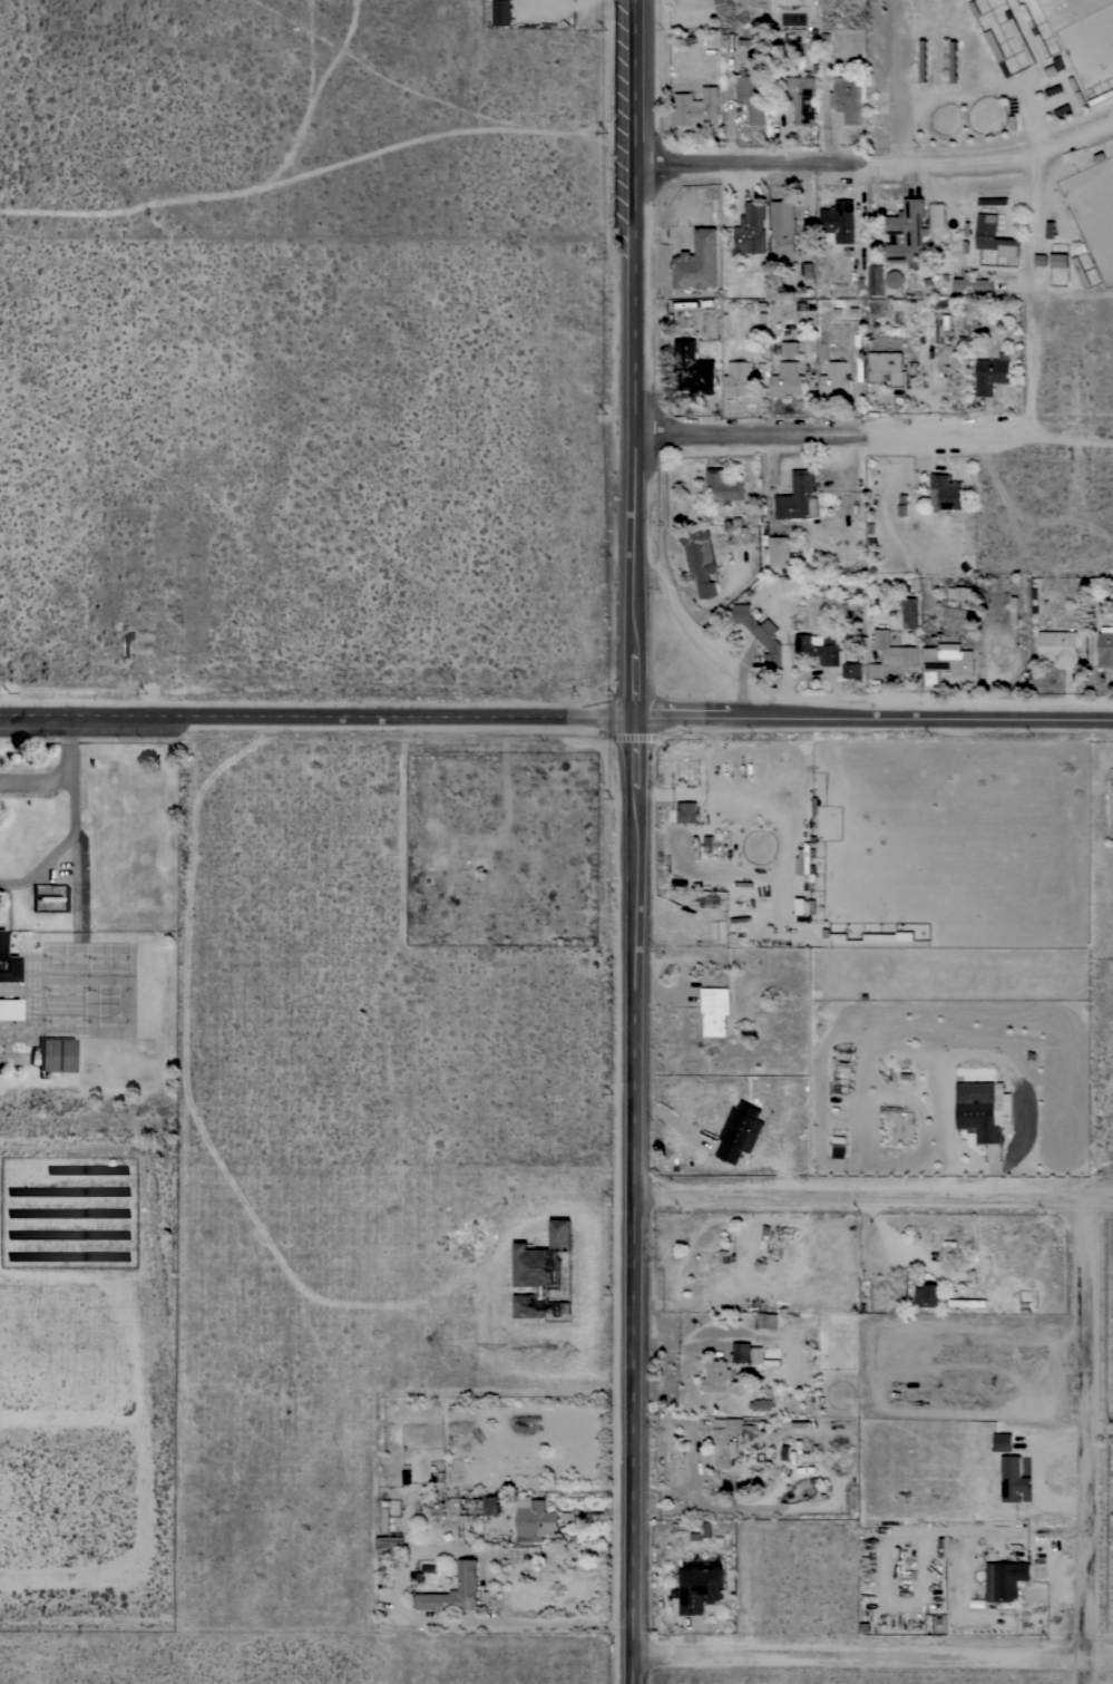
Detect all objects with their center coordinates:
building: (501, 12)
building: (1034, 29)
building: (1022, 41)
building: (996, 50)
building: (921, 61)
building: (954, 61)
building: (752, 97)
building: (801, 98)
building: (847, 98)
building: (696, 107)
road: (1074, 139)
road: (960, 162)
road: (761, 167)
building: (986, 202)
building: (937, 215)
building: (839, 222)
building: (783, 225)
building: (751, 228)
building: (907, 234)
building: (993, 236)
building: (1058, 260)
building: (697, 262)
building: (1081, 272)
building: (895, 279)
building: (873, 280)
building: (973, 284)
building: (789, 349)
road: (635, 359)
building: (887, 368)
building: (692, 370)
building: (992, 373)
building: (739, 379)
building: (787, 379)
building: (836, 379)
road: (964, 435)
building: (724, 486)
building: (945, 493)
building: (798, 496)
building: (780, 552)
building: (700, 562)
building: (783, 591)
building: (960, 593)
building: (910, 612)
building: (760, 633)
building: (1058, 648)
building: (1105, 648)
building: (826, 653)
building: (890, 654)
building: (949, 659)
road: (315, 719)
road: (695, 719)
road: (935, 720)
building: (687, 812)
building: (710, 844)
building: (480, 860)
building: (7, 963)
building: (10, 1009)
building: (715, 1010)
building: (47, 1054)
building: (66, 1054)
building: (978, 1116)
building: (740, 1132)
building: (838, 1148)
road: (631, 1200)
road: (871, 1205)
building: (765, 1236)
building: (719, 1255)
building: (540, 1256)
building: (957, 1273)
building: (927, 1295)
building: (967, 1303)
building: (528, 1306)
building: (765, 1320)
building: (738, 1350)
building: (761, 1355)
building: (716, 1375)
building: (761, 1404)
building: (729, 1439)
building: (999, 1442)
road: (1083, 1445)
building: (1011, 1479)
building: (489, 1506)
building: (385, 1515)
building: (584, 1516)
building: (534, 1519)
building: (390, 1541)
building: (1005, 1580)
building: (700, 1588)
building: (455, 1590)
road: (871, 1664)

